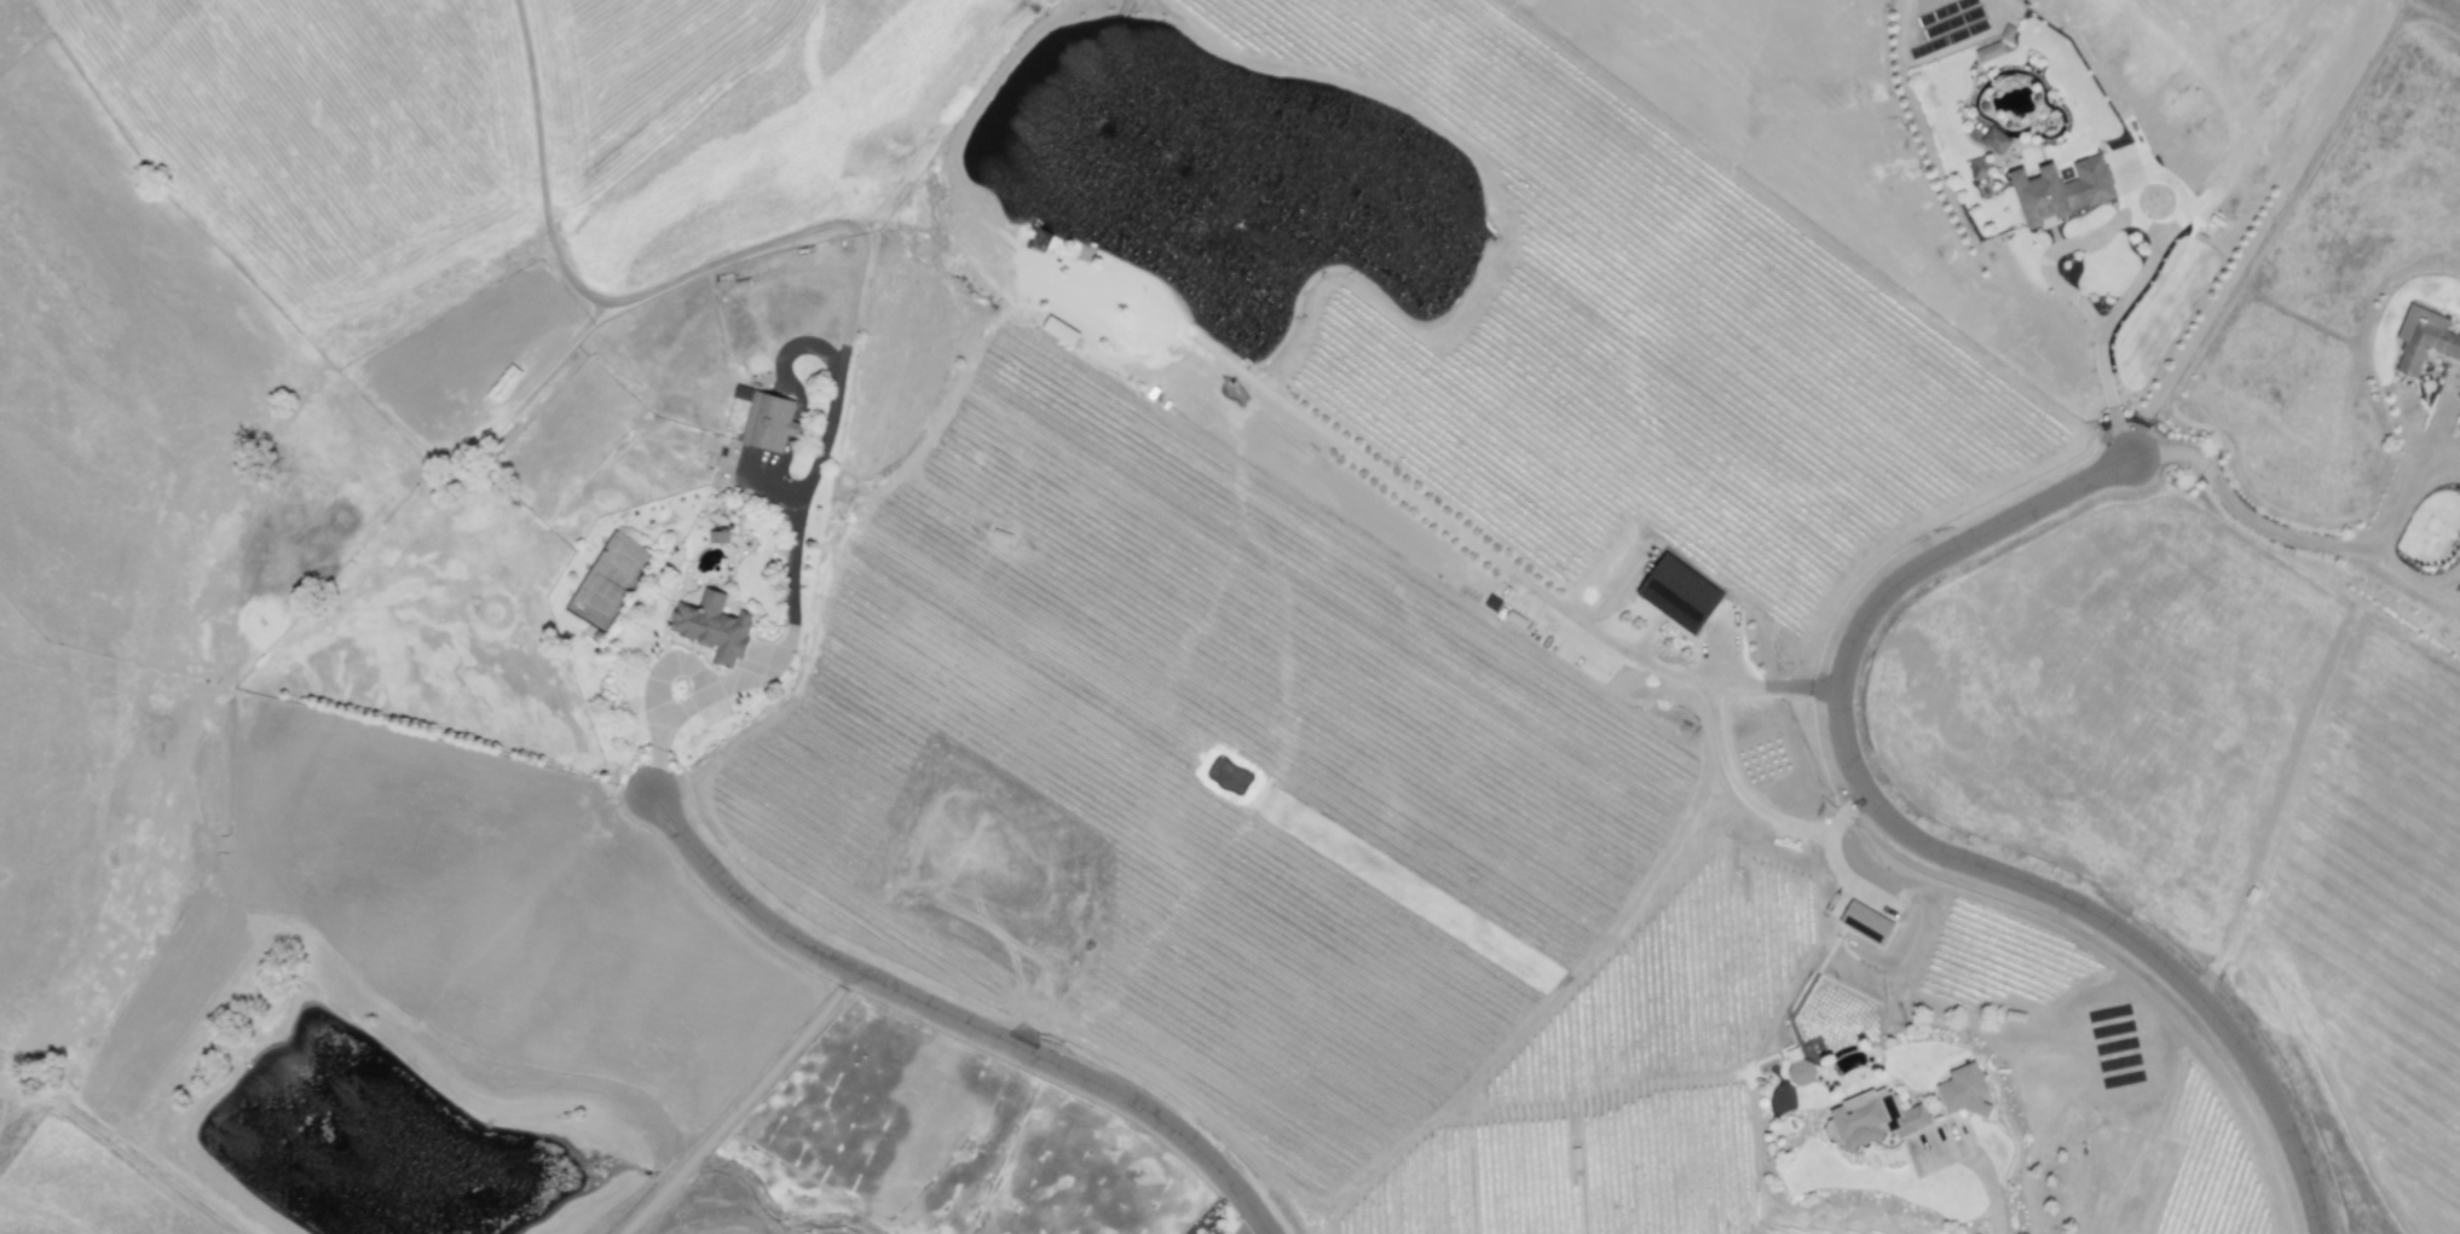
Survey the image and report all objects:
building: (1994, 140)
building: (1977, 168)
building: (2061, 191)
road: (2155, 248)
building: (2424, 338)
building: (767, 419)
road: (2407, 486)
road: (2239, 511)
building: (718, 537)
road: (2413, 580)
building: (1679, 593)
building: (712, 627)
road: (781, 647)
building: (705, 685)
road: (1783, 685)
road: (1750, 801)
road: (1930, 852)
building: (1865, 922)
road: (962, 1021)
building: (1800, 1073)
building: (1963, 1091)
road: (740, 1103)
building: (1872, 1119)
road: (1991, 1189)
road: (1254, 1230)

